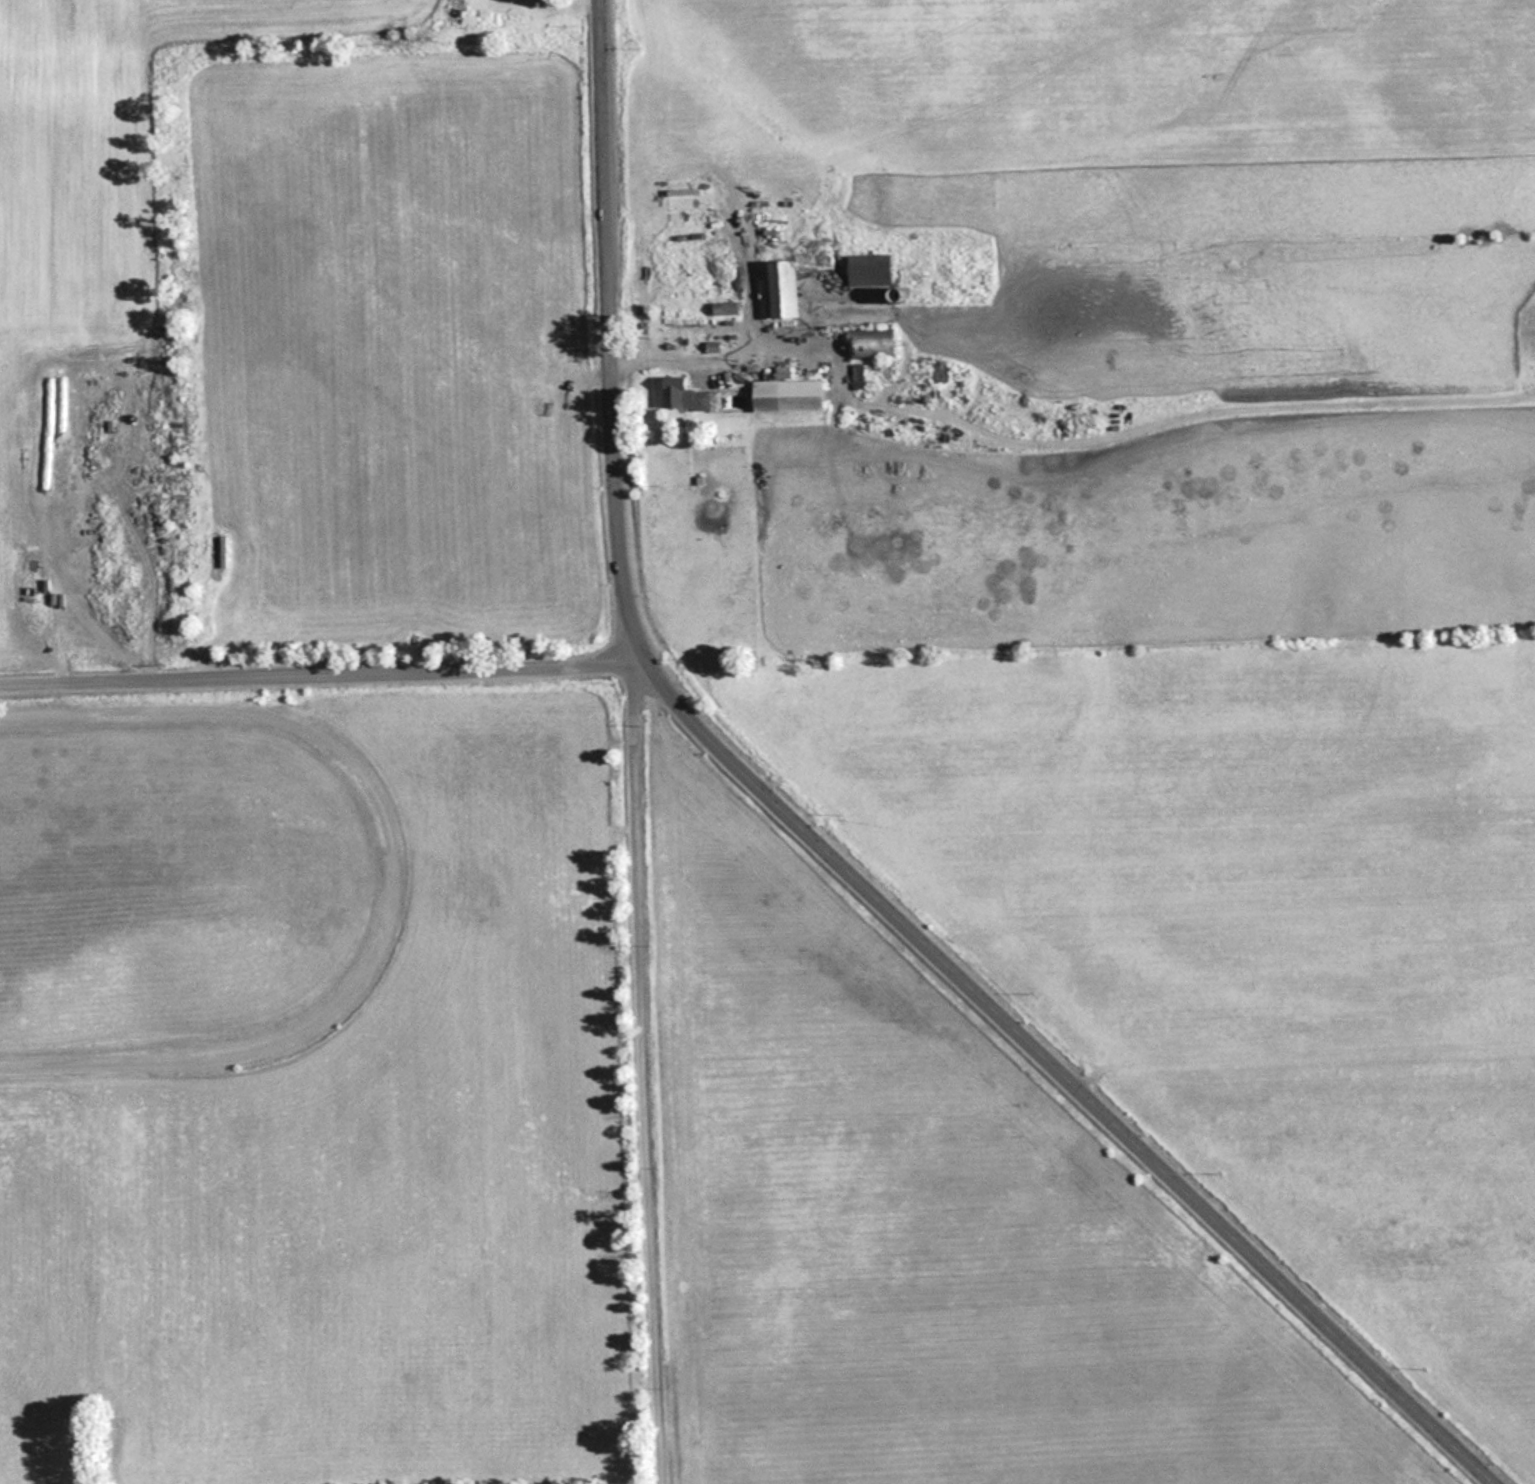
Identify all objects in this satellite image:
building: (871, 270)
building: (794, 281)
building: (874, 343)
building: (858, 376)
building: (686, 396)
building: (791, 396)
building: (172, 401)
building: (87, 462)
building: (136, 503)
road: (327, 669)
road: (834, 846)
road: (391, 881)
road: (647, 1069)

